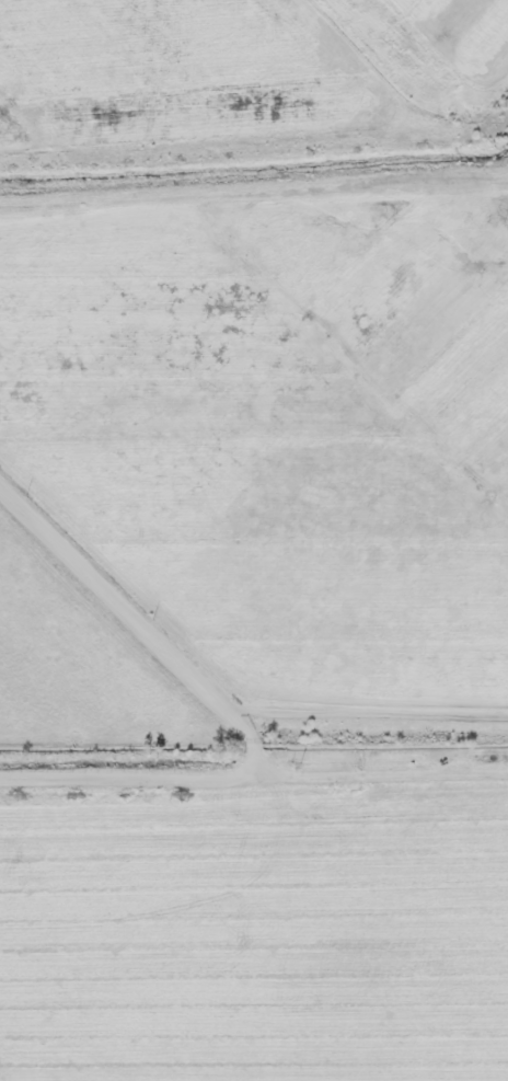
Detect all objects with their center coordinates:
road: (140, 621)
road: (253, 774)

